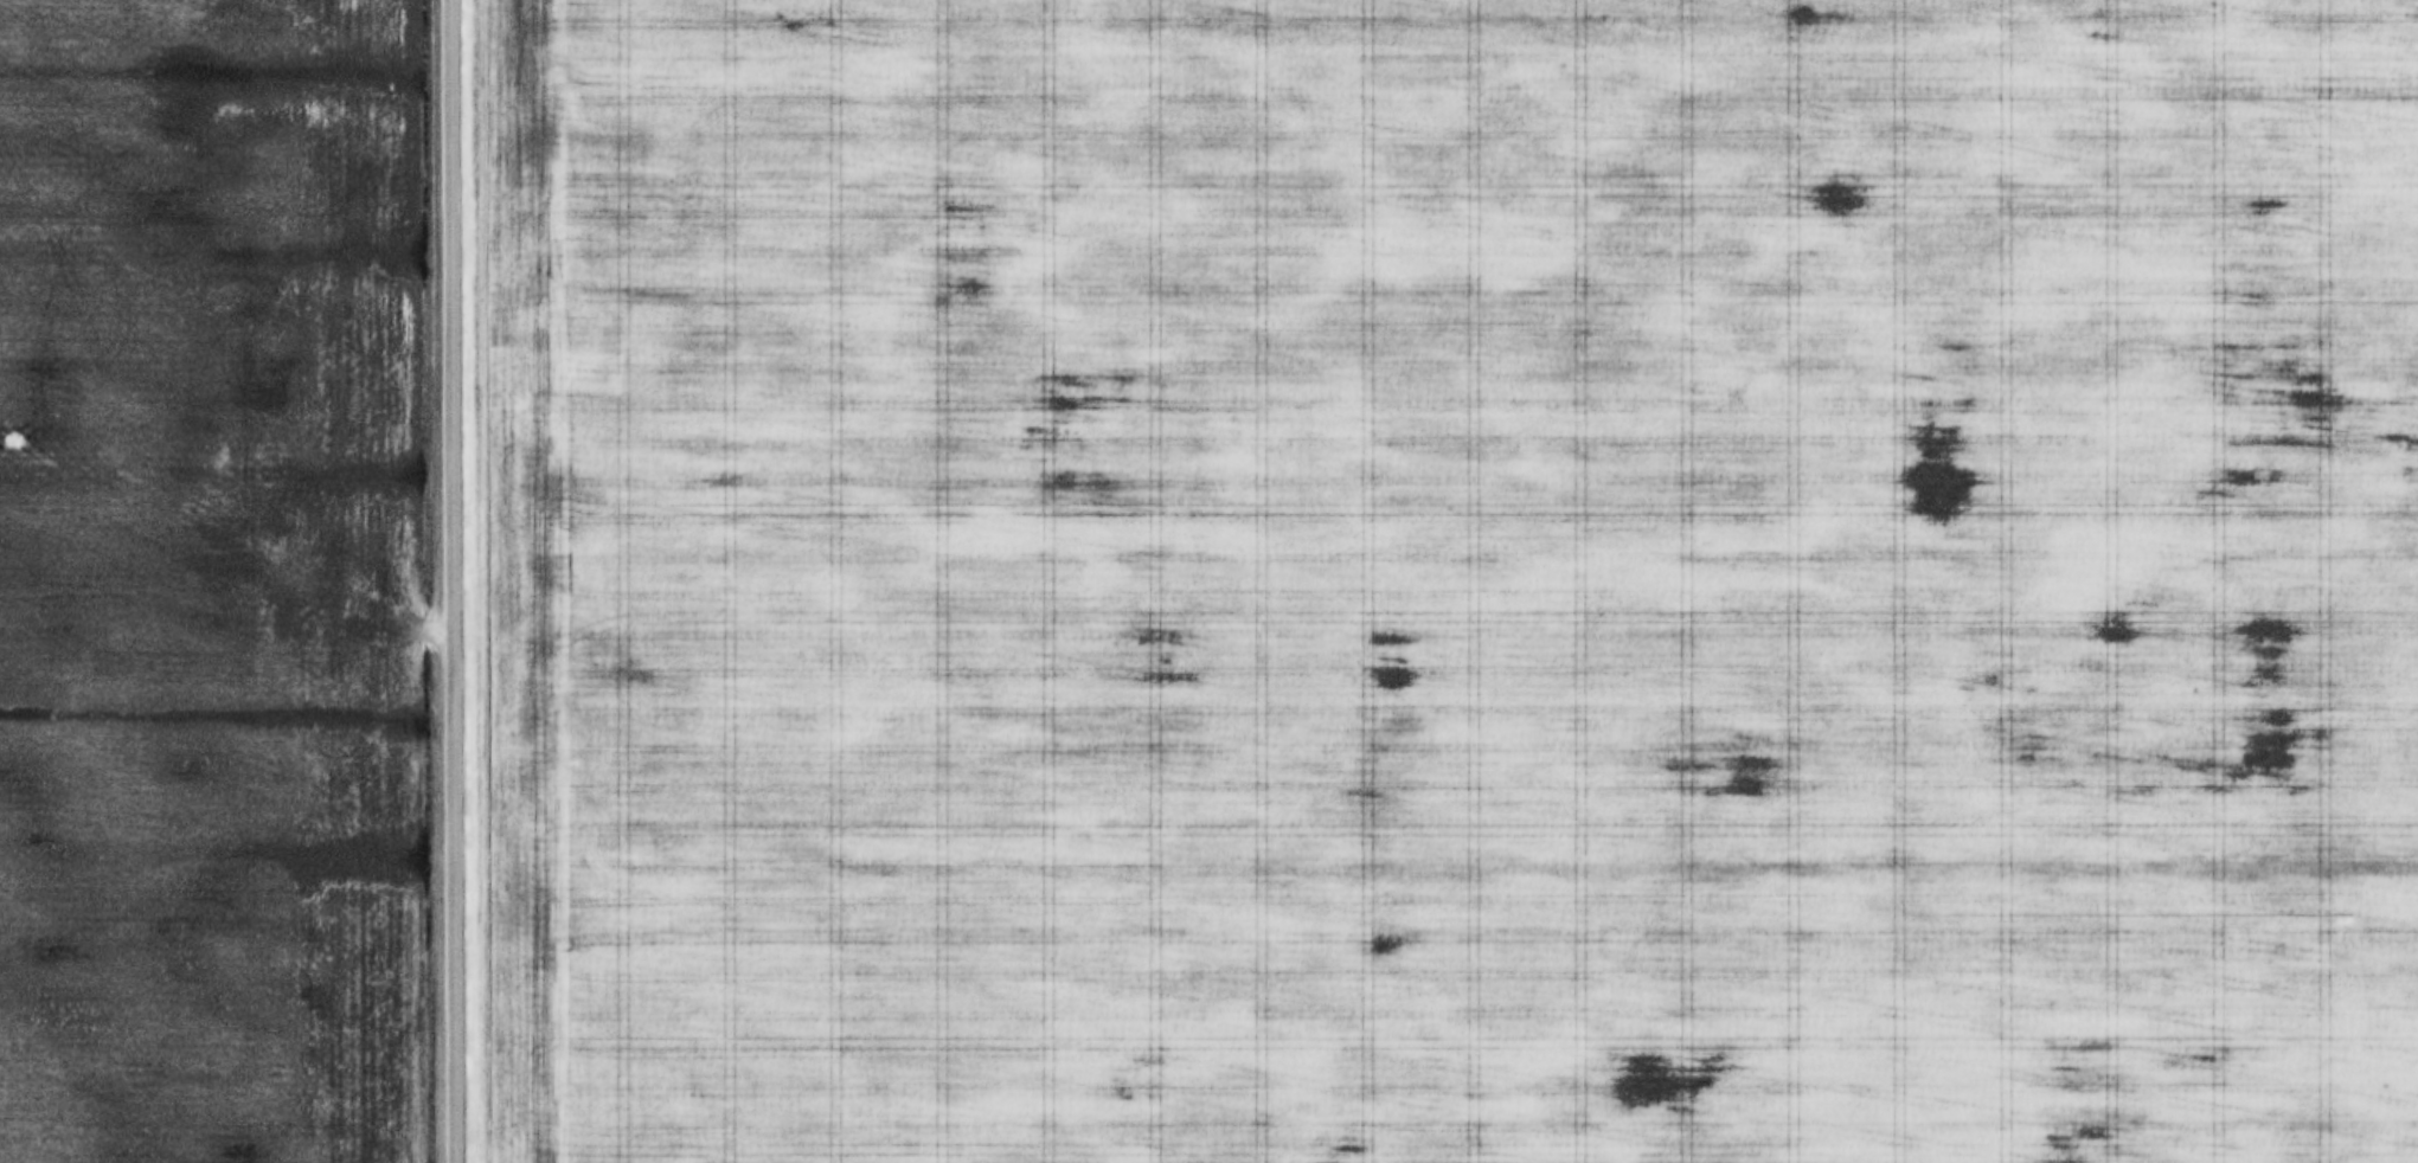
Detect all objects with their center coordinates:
road: (454, 581)

